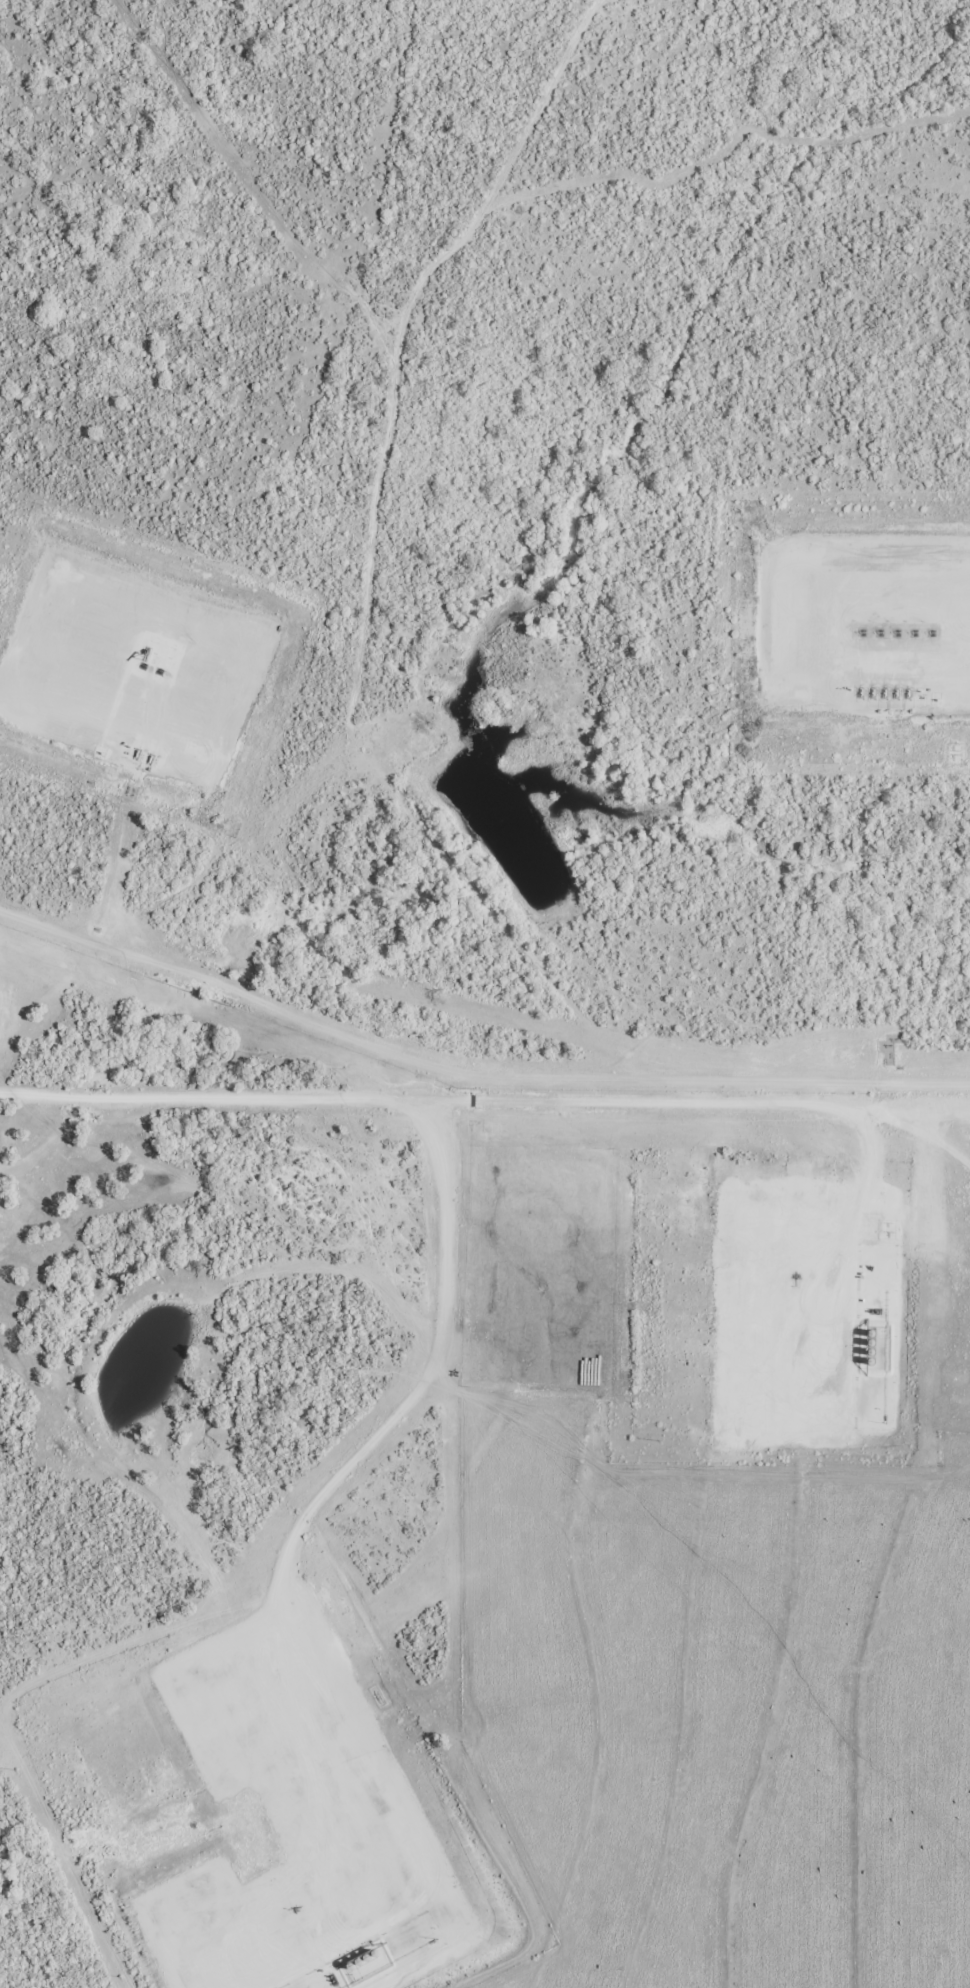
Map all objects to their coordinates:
road: (484, 1099)

